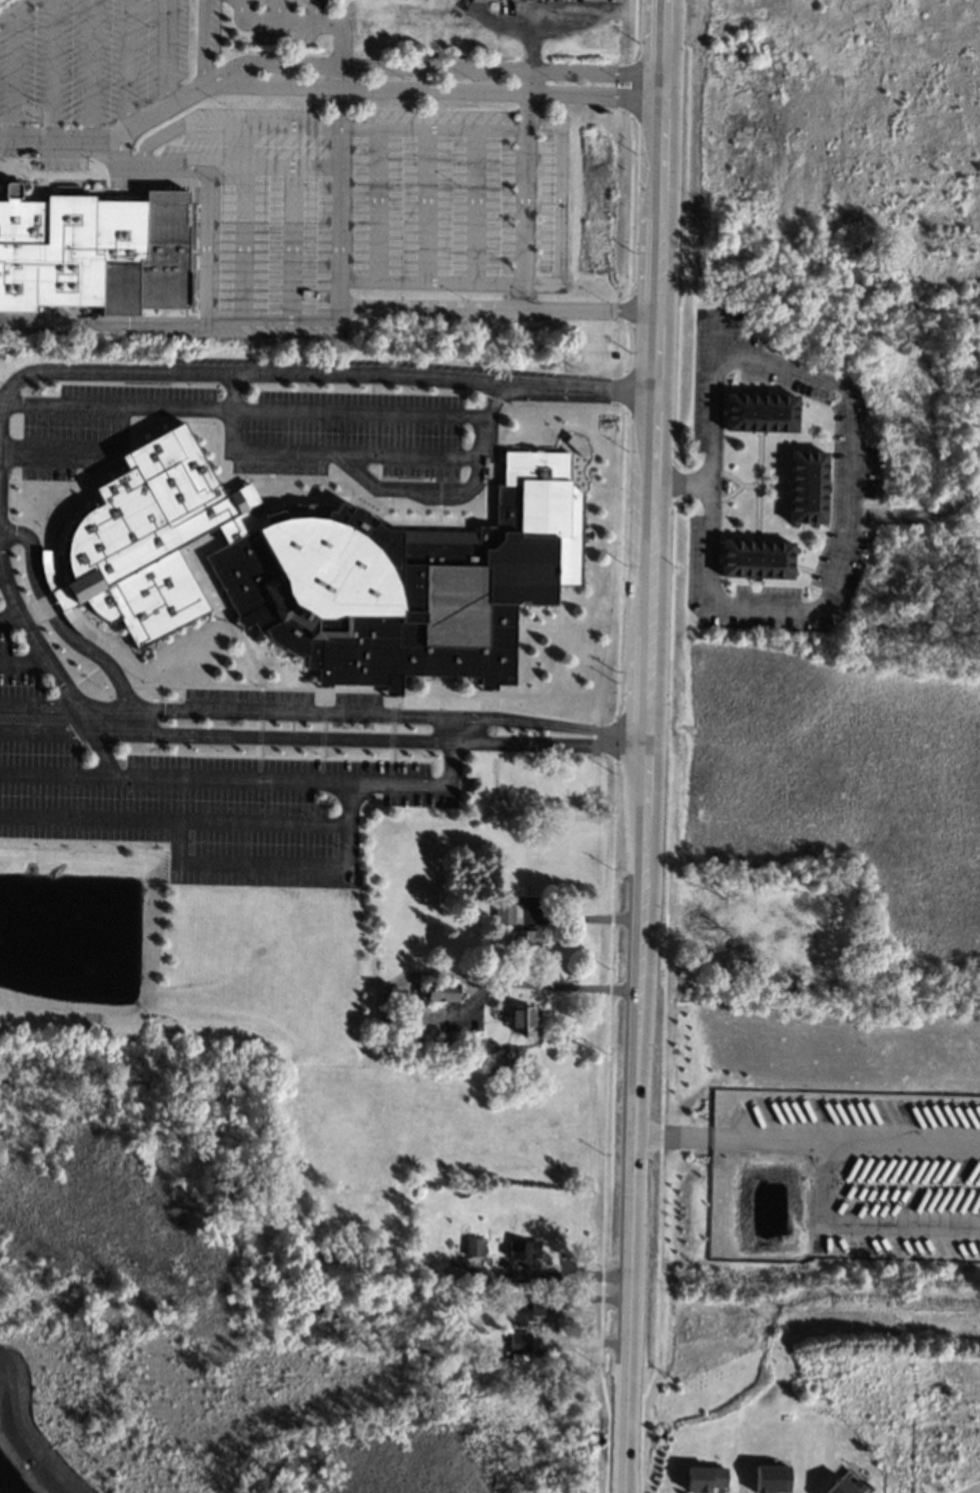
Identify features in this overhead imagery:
road: (16, 10)
road: (241, 10)
road: (279, 10)
road: (316, 11)
road: (512, 29)
road: (634, 29)
parking lot: (213, 30)
road: (206, 42)
road: (636, 46)
road: (661, 46)
road: (163, 54)
parking lot: (88, 60)
road: (127, 66)
road: (436, 67)
road: (52, 70)
road: (91, 70)
road: (12, 76)
road: (437, 86)
road: (631, 87)
road: (324, 131)
road: (114, 140)
road: (367, 169)
road: (207, 181)
road: (526, 189)
parking lot: (367, 201)
road: (366, 203)
road: (559, 204)
road: (629, 205)
road: (366, 241)
building: (92, 251)
road: (683, 253)
road: (339, 272)
road: (365, 282)
road: (629, 283)
road: (654, 283)
road: (680, 284)
road: (625, 308)
road: (277, 316)
road: (105, 324)
road: (626, 346)
road: (118, 370)
road: (624, 391)
road: (259, 408)
building: (759, 411)
parking lot: (242, 428)
road: (82, 451)
road: (343, 454)
road: (674, 483)
road: (682, 484)
road: (739, 484)
road: (759, 484)
building: (758, 485)
road: (763, 485)
road: (419, 486)
building: (806, 486)
road: (904, 515)
building: (755, 558)
road: (619, 564)
building: (328, 570)
road: (3, 577)
road: (798, 610)
road: (14, 619)
road: (64, 631)
road: (27, 663)
road: (618, 700)
road: (644, 700)
road: (322, 715)
road: (322, 737)
road: (613, 739)
road: (643, 746)
road: (260, 779)
parking lot: (192, 796)
road: (194, 818)
crop: (833, 851)
road: (261, 865)
building: (503, 913)
building: (524, 939)
road: (543, 987)
building: (441, 991)
road: (663, 998)
building: (521, 1017)
building: (464, 1049)
road: (605, 1128)
road: (806, 1140)
road: (871, 1217)
building: (473, 1246)
building: (522, 1249)
road: (554, 1277)
building: (525, 1309)
road: (548, 1326)
building: (520, 1339)
building: (489, 1356)
building: (704, 1478)
building: (770, 1478)
building: (843, 1486)

